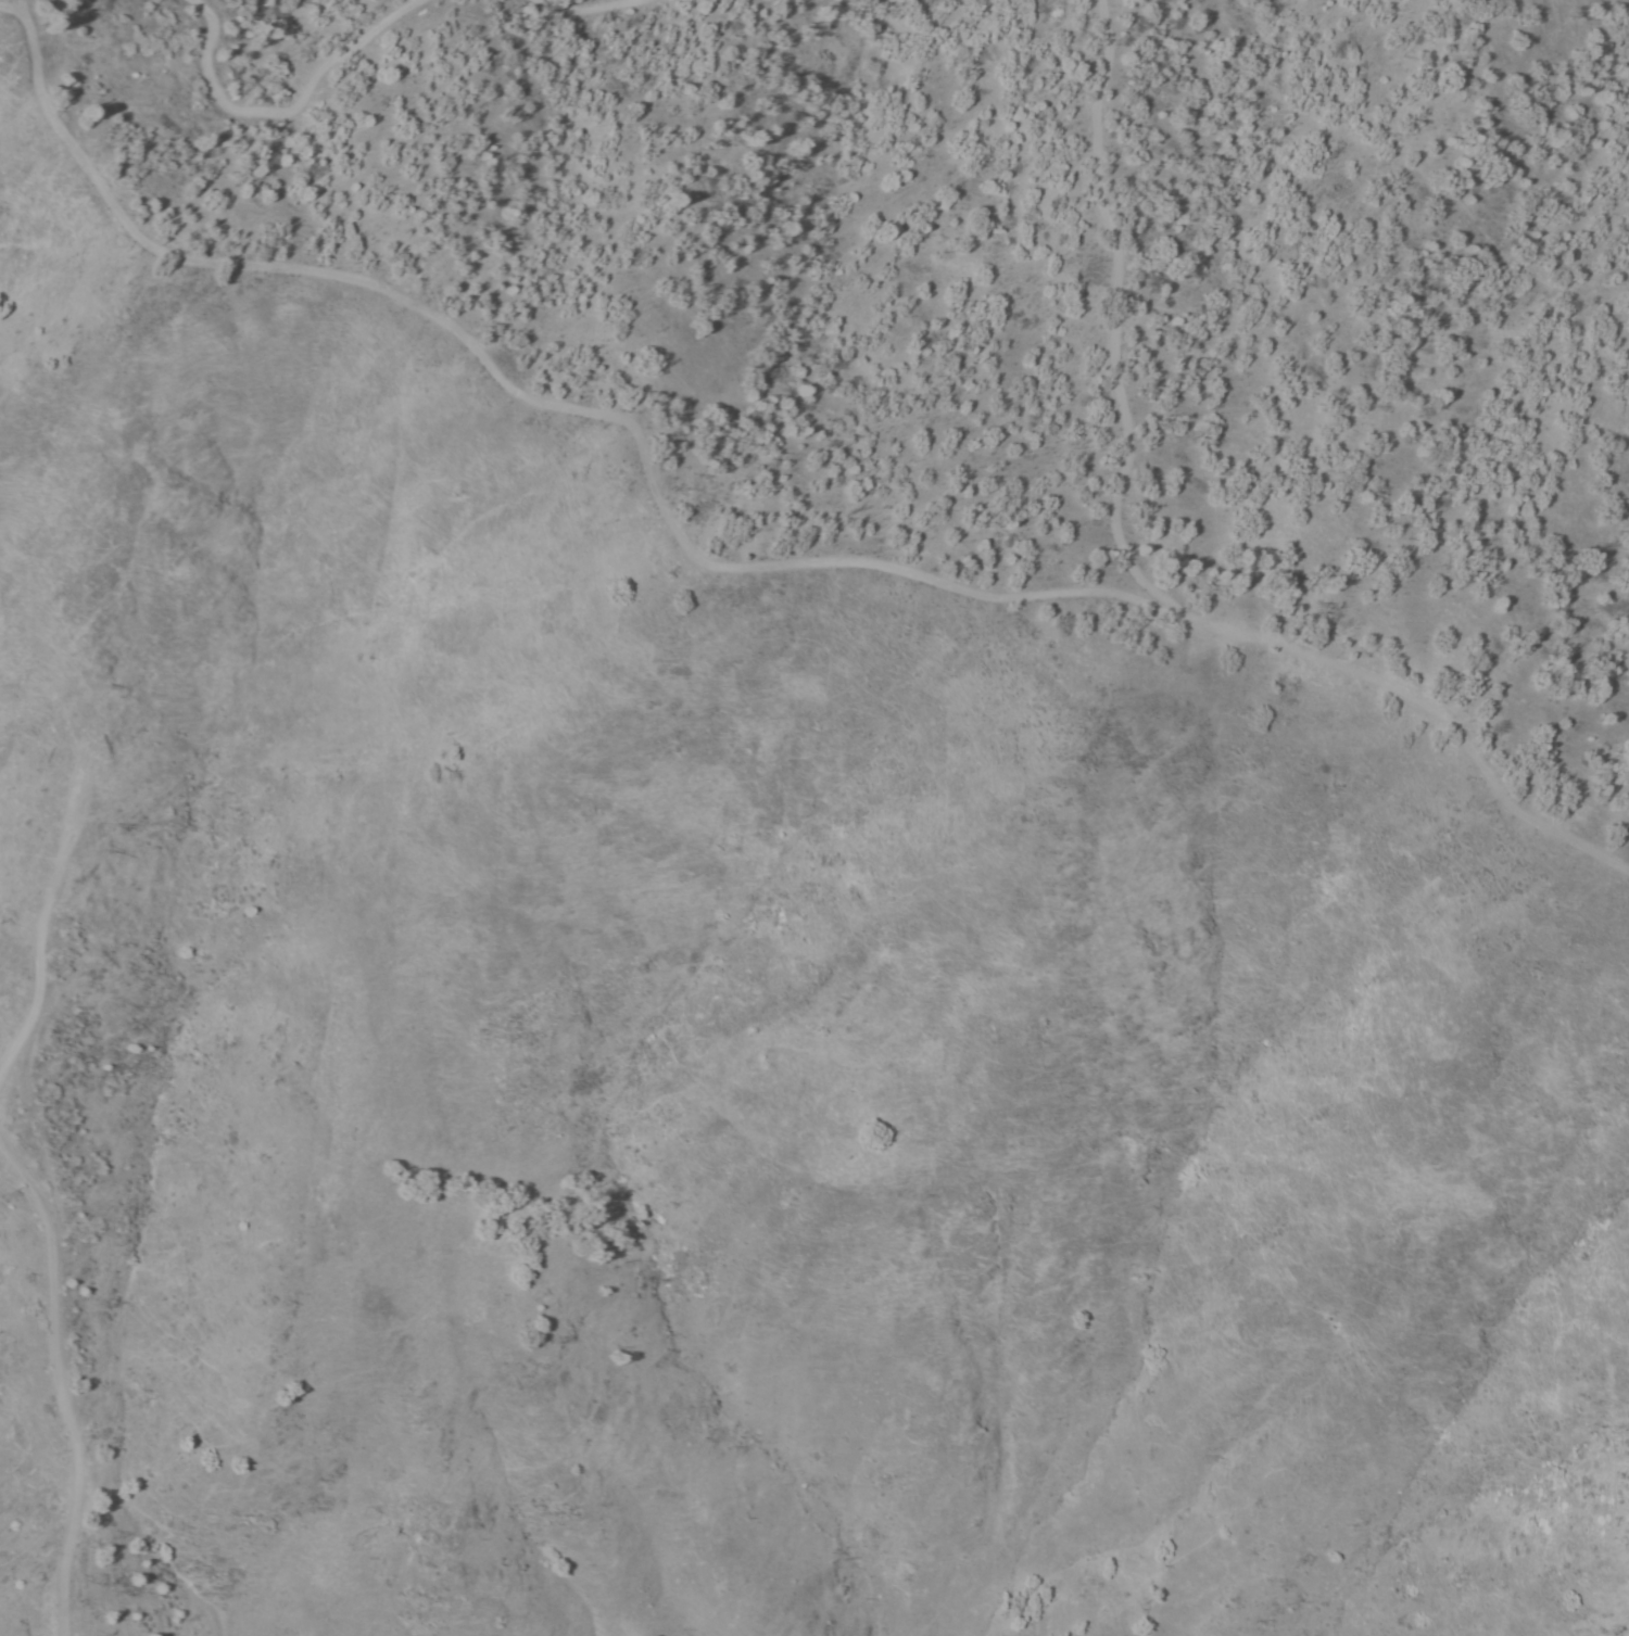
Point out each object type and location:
road: (567, 1)
road: (283, 101)
road: (1114, 328)
road: (719, 582)
road: (37, 951)
road: (59, 1392)

